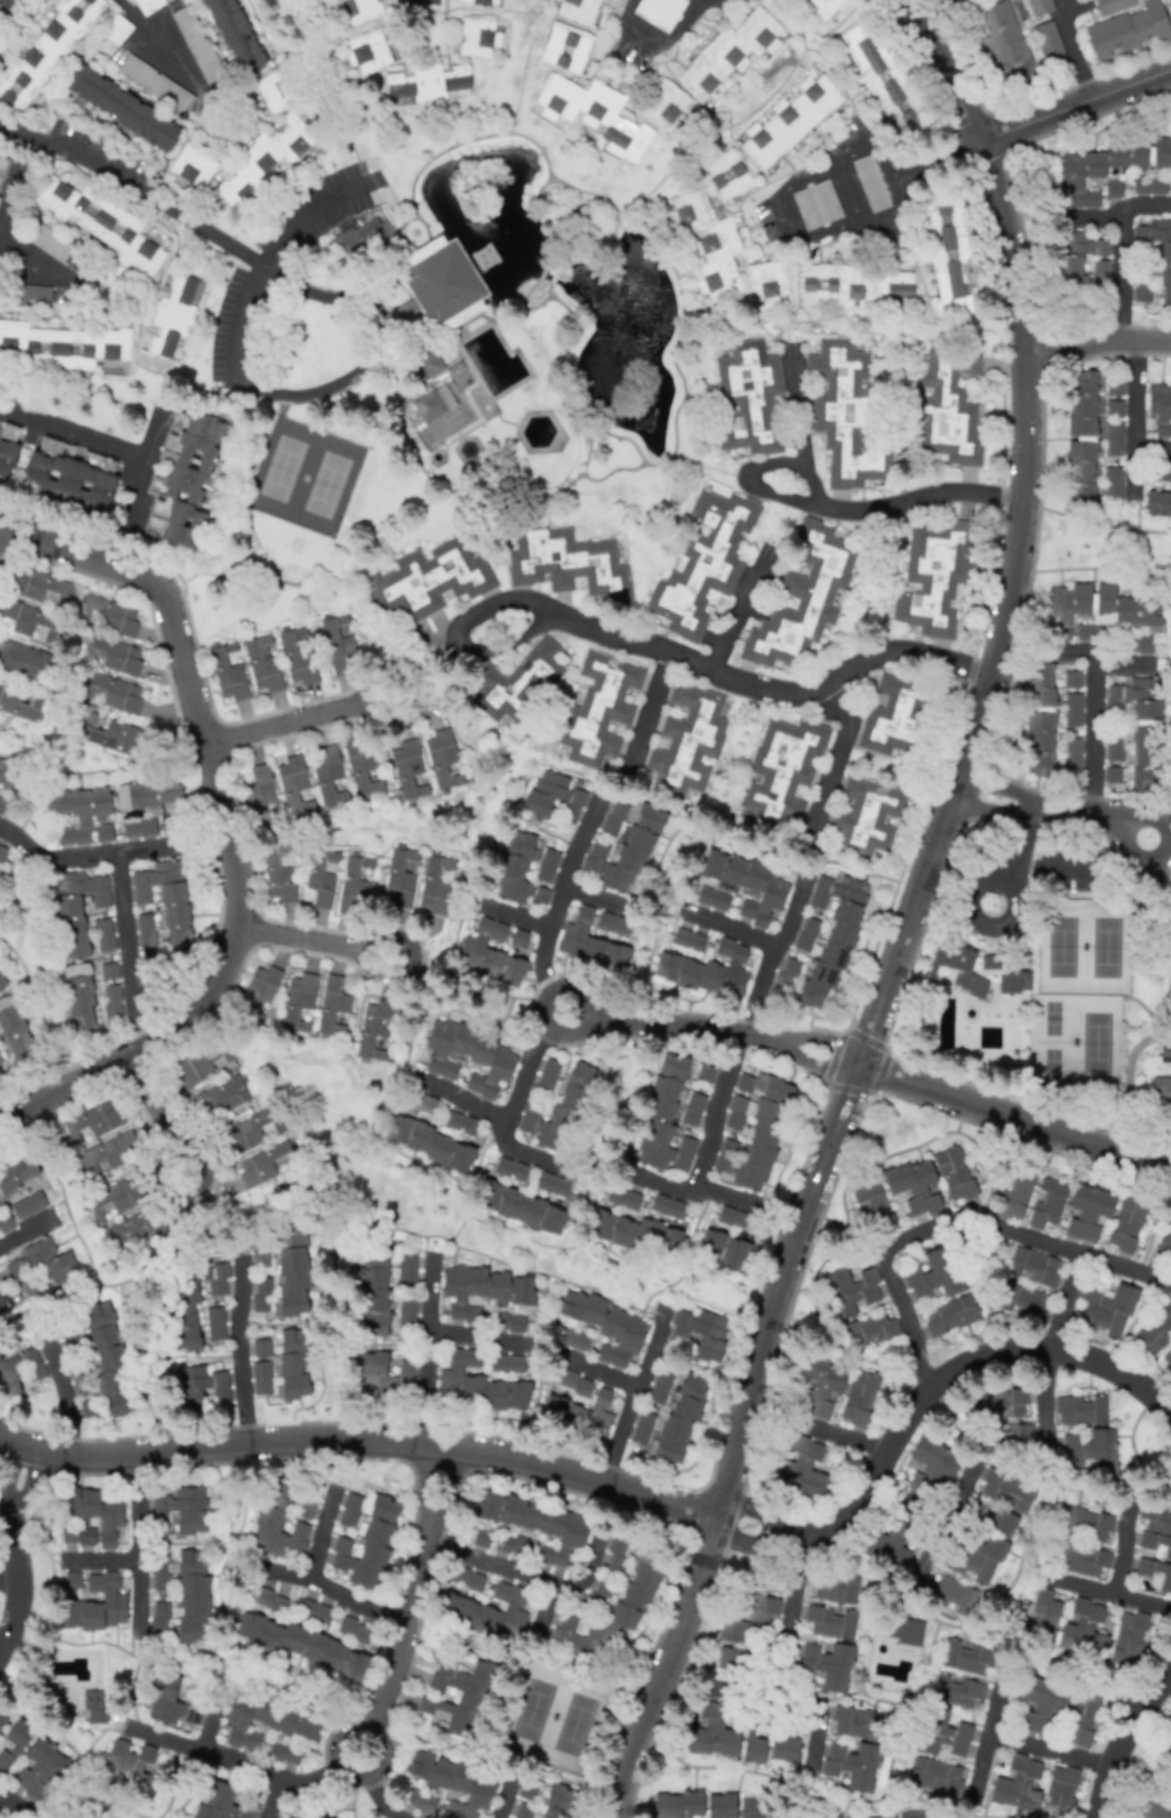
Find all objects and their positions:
building: (939, 0)
road: (0, 1)
road: (1064, 1)
building: (480, 2)
building: (1170, 2)
building: (147, 5)
building: (1112, 5)
building: (824, 6)
building: (1039, 6)
building: (581, 10)
building: (353, 11)
building: (657, 12)
building: (116, 30)
building: (1127, 30)
building: (234, 35)
building: (476, 38)
building: (1047, 41)
road: (656, 42)
building: (1004, 42)
road: (155, 44)
building: (196, 44)
building: (564, 50)
road: (1073, 50)
building: (366, 51)
building: (45, 52)
building: (729, 55)
building: (880, 76)
building: (154, 82)
building: (428, 82)
building: (273, 92)
road: (1076, 106)
building: (122, 108)
building: (663, 109)
building: (593, 114)
building: (790, 119)
road: (847, 146)
road: (885, 150)
road: (944, 155)
building: (267, 158)
building: (2, 160)
building: (192, 166)
building: (725, 173)
building: (1083, 173)
road: (802, 178)
building: (869, 183)
building: (1170, 183)
road: (132, 184)
building: (1148, 184)
road: (846, 193)
road: (898, 193)
road: (7, 201)
building: (816, 204)
road: (778, 212)
road: (1092, 218)
building: (99, 222)
road: (857, 227)
road: (804, 233)
building: (360, 238)
building: (708, 241)
building: (50, 243)
road: (273, 247)
road: (1118, 249)
building: (1076, 253)
building: (947, 257)
road: (38, 260)
building: (1099, 269)
building: (765, 281)
building: (442, 283)
building: (855, 285)
road: (316, 292)
building: (29, 295)
building: (401, 312)
building: (172, 313)
road: (382, 323)
road: (1097, 337)
building: (62, 343)
building: (427, 363)
building: (1114, 387)
road: (324, 389)
building: (748, 398)
building: (433, 403)
building: (948, 408)
building: (1114, 409)
building: (1160, 409)
road: (798, 412)
building: (844, 414)
road: (1132, 415)
road: (72, 433)
building: (1081, 435)
building: (1113, 439)
road: (1152, 446)
building: (7, 448)
building: (1161, 471)
park: (304, 475)
building: (188, 477)
road: (137, 478)
building: (1156, 502)
road: (829, 507)
building: (566, 562)
building: (702, 563)
building: (932, 579)
building: (428, 580)
building: (39, 586)
building: (801, 597)
road: (741, 609)
building: (1103, 612)
building: (108, 615)
building: (30, 620)
building: (1087, 631)
building: (338, 644)
road: (663, 648)
road: (1075, 651)
building: (112, 654)
building: (296, 656)
building: (23, 660)
building: (261, 663)
building: (227, 674)
building: (515, 679)
building: (1070, 679)
building: (118, 694)
building: (18, 702)
building: (598, 708)
road: (647, 709)
building: (1072, 709)
building: (891, 714)
road: (301, 720)
building: (1040, 723)
road: (1091, 734)
building: (114, 736)
building: (686, 741)
building: (1143, 742)
building: (1113, 747)
building: (1072, 754)
building: (440, 757)
road: (836, 758)
building: (360, 765)
building: (406, 766)
building: (782, 769)
building: (7, 771)
building: (329, 775)
building: (293, 785)
building: (261, 794)
building: (553, 794)
building: (149, 796)
building: (1, 804)
road: (1051, 809)
building: (80, 814)
building: (864, 817)
road: (224, 826)
building: (138, 827)
road: (1158, 837)
building: (622, 845)
road: (110, 850)
building: (1, 853)
road: (1019, 859)
building: (524, 870)
building: (276, 873)
building: (320, 876)
building: (0, 877)
building: (398, 878)
building: (434, 884)
building: (746, 884)
road: (981, 885)
building: (355, 887)
road: (559, 891)
road: (596, 897)
building: (712, 897)
building: (162, 905)
building: (78, 907)
road: (910, 912)
road: (514, 917)
building: (611, 924)
road: (731, 927)
building: (805, 934)
building: (103, 935)
building: (832, 935)
building: (519, 939)
building: (687, 939)
road: (316, 941)
building: (588, 944)
road: (130, 950)
building: (487, 954)
road: (771, 956)
building: (706, 969)
building: (108, 970)
building: (975, 970)
building: (786, 973)
building: (261, 982)
building: (1, 984)
park: (1079, 995)
building: (79, 997)
road: (544, 1001)
building: (298, 1002)
building: (110, 1003)
building: (331, 1004)
building: (373, 1027)
building: (12, 1030)
building: (1164, 1055)
building: (468, 1059)
building: (198, 1061)
building: (706, 1072)
building: (547, 1075)
road: (881, 1075)
road: (521, 1076)
building: (1160, 1090)
building: (218, 1096)
road: (462, 1098)
road: (715, 1109)
building: (692, 1110)
road: (159, 1116)
building: (662, 1116)
building: (90, 1119)
road: (0, 1121)
building: (752, 1129)
building: (251, 1130)
building: (421, 1142)
building: (108, 1153)
road: (533, 1156)
building: (265, 1162)
building: (510, 1169)
building: (15, 1174)
building: (954, 1174)
building: (553, 1184)
building: (913, 1186)
road: (696, 1189)
building: (1013, 1196)
building: (623, 1197)
building: (28, 1204)
building: (666, 1206)
building: (874, 1207)
building: (521, 1208)
building: (122, 1213)
building: (1044, 1214)
building: (1087, 1214)
building: (733, 1219)
building: (5, 1223)
building: (635, 1231)
road: (24, 1232)
building: (1165, 1244)
building: (721, 1248)
road: (1084, 1253)
building: (259, 1259)
building: (42, 1260)
building: (1033, 1266)
building: (292, 1269)
building: (406, 1269)
building: (481, 1289)
building: (849, 1290)
building: (259, 1294)
building: (372, 1294)
building: (1023, 1300)
building: (192, 1301)
road: (239, 1311)
building: (1104, 1311)
road: (904, 1313)
building: (949, 1315)
building: (508, 1321)
building: (215, 1323)
building: (605, 1327)
building: (868, 1329)
building: (1155, 1330)
building: (701, 1332)
road: (464, 1334)
building: (573, 1339)
building: (261, 1347)
road: (425, 1352)
building: (1167, 1357)
building: (105, 1363)
building: (292, 1363)
building: (505, 1363)
building: (19, 1368)
building: (382, 1373)
road: (600, 1374)
building: (261, 1378)
building: (575, 1383)
building: (475, 1384)
building: (201, 1385)
building: (817, 1386)
building: (658, 1387)
road: (632, 1397)
building: (858, 1397)
building: (1000, 1402)
road: (65, 1404)
road: (1047, 1407)
building: (1080, 1409)
building: (578, 1413)
road: (924, 1417)
building: (678, 1418)
building: (641, 1427)
building: (1006, 1436)
road: (850, 1437)
road: (362, 1440)
building: (1089, 1452)
building: (930, 1465)
building: (799, 1469)
building: (1005, 1491)
building: (178, 1509)
building: (96, 1510)
road: (137, 1510)
building: (348, 1510)
building: (269, 1512)
road: (0, 1515)
building: (1001, 1522)
building: (1084, 1522)
building: (537, 1523)
building: (1155, 1529)
building: (75, 1538)
building: (480, 1538)
building: (890, 1539)
building: (366, 1545)
building: (615, 1552)
road: (1120, 1552)
building: (975, 1558)
building: (1083, 1560)
road: (130, 1563)
road: (503, 1569)
building: (1155, 1573)
road: (324, 1579)
building: (467, 1579)
building: (70, 1580)
road: (2, 1586)
building: (835, 1586)
building: (953, 1595)
road: (1106, 1596)
building: (181, 1597)
building: (268, 1600)
road: (4, 1603)
building: (96, 1603)
road: (413, 1605)
building: (1046, 1607)
building: (755, 1608)
building: (312, 1609)
building: (486, 1609)
building: (609, 1611)
building: (829, 1622)
building: (352, 1629)
building: (1083, 1629)
building: (902, 1630)
building: (736, 1631)
building: (1127, 1639)
building: (301, 1645)
building: (965, 1655)
building: (730, 1660)
road: (783, 1662)
building: (823, 1665)
road: (1170, 1682)
building: (955, 1691)
road: (741, 1693)
building: (453, 1694)
building: (172, 1702)
building: (92, 1706)
building: (1058, 1709)
park: (553, 1715)
building: (2, 1720)
building: (264, 1720)
building: (856, 1722)
building: (710, 1732)
building: (942, 1733)
road: (986, 1733)
road: (1120, 1742)
building: (12, 1743)
building: (1166, 1744)
building: (753, 1746)
building: (783, 1749)
road: (1047, 1749)
building: (282, 1753)
building: (127, 1766)
building: (851, 1766)
road: (246, 1769)
building: (40, 1771)
building: (935, 1777)
building: (453, 1783)
building: (1017, 1785)
building: (1058, 1791)
road: (504, 1797)
road: (273, 1799)
building: (419, 1800)
building: (223, 1803)
building: (676, 1805)
building: (720, 1806)
building: (1152, 1806)
building: (754, 1807)
building: (914, 1813)
building: (879, 1816)
building: (285, 1817)
building: (316, 1817)
building: (818, 1817)

